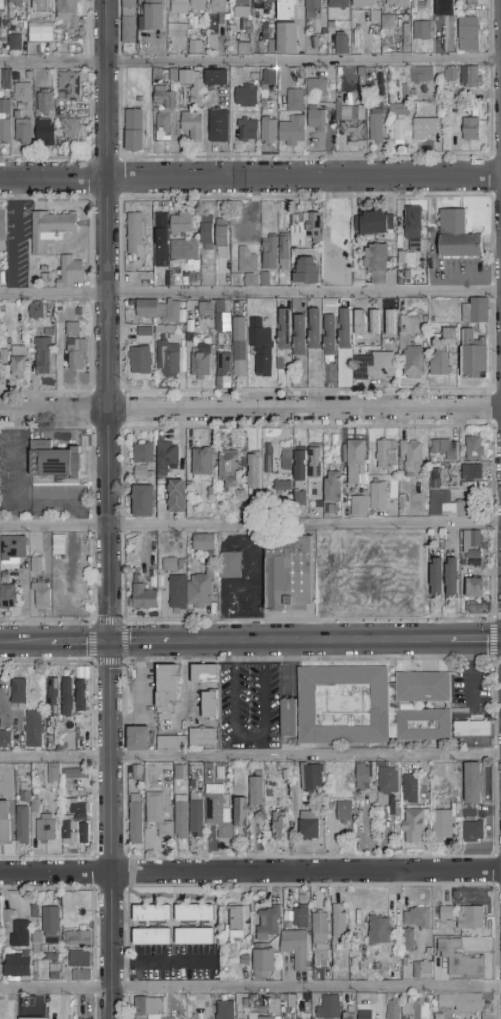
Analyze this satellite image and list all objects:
building: (418, 1)
building: (17, 3)
building: (198, 3)
building: (398, 3)
building: (472, 3)
building: (338, 4)
building: (362, 4)
building: (262, 5)
building: (43, 6)
building: (312, 8)
building: (445, 8)
building: (241, 9)
building: (219, 10)
building: (287, 10)
building: (1, 11)
building: (68, 15)
building: (151, 15)
building: (177, 15)
building: (375, 17)
building: (130, 22)
building: (388, 23)
building: (331, 28)
building: (422, 30)
building: (42, 32)
building: (324, 32)
building: (469, 35)
building: (288, 38)
building: (15, 42)
building: (343, 45)
building: (196, 48)
building: (38, 49)
building: (244, 49)
road: (250, 62)
building: (451, 74)
building: (159, 75)
building: (421, 75)
building: (172, 77)
building: (471, 77)
building: (216, 78)
building: (5, 82)
building: (268, 83)
building: (70, 86)
building: (194, 87)
building: (317, 88)
building: (406, 92)
building: (23, 93)
building: (247, 97)
building: (166, 98)
building: (139, 100)
building: (294, 101)
building: (46, 102)
building: (263, 104)
building: (317, 120)
building: (5, 121)
building: (350, 122)
building: (399, 122)
building: (193, 126)
building: (219, 126)
building: (164, 127)
building: (426, 128)
building: (376, 129)
building: (470, 129)
building: (73, 131)
building: (134, 131)
road: (206, 131)
building: (248, 131)
building: (269, 131)
building: (24, 132)
building: (293, 132)
building: (46, 133)
road: (250, 177)
building: (182, 224)
building: (373, 224)
building: (3, 226)
building: (414, 229)
building: (51, 230)
building: (134, 232)
building: (207, 232)
building: (307, 232)
building: (458, 236)
road: (15, 238)
building: (162, 238)
building: (223, 238)
park: (336, 241)
building: (183, 250)
building: (270, 253)
building: (284, 254)
building: (407, 260)
building: (377, 263)
building: (248, 269)
building: (307, 272)
building: (71, 273)
building: (160, 279)
building: (265, 280)
road: (250, 295)
building: (220, 307)
building: (151, 309)
building: (206, 310)
building: (36, 311)
building: (476, 311)
building: (80, 312)
building: (176, 313)
road: (108, 321)
building: (222, 322)
building: (330, 326)
building: (314, 329)
building: (344, 329)
building: (74, 330)
building: (284, 330)
building: (449, 335)
building: (300, 336)
building: (261, 347)
building: (240, 348)
building: (77, 354)
building: (43, 356)
building: (4, 357)
building: (474, 357)
building: (168, 359)
building: (141, 361)
building: (19, 362)
building: (440, 362)
building: (414, 363)
building: (223, 364)
building: (381, 365)
building: (201, 366)
road: (250, 409)
building: (473, 448)
building: (445, 449)
building: (143, 454)
building: (387, 454)
building: (410, 455)
building: (286, 456)
building: (167, 458)
building: (356, 461)
building: (315, 462)
building: (54, 463)
building: (202, 464)
building: (230, 469)
building: (300, 470)
building: (255, 471)
building: (142, 473)
building: (472, 473)
building: (435, 479)
building: (284, 486)
building: (332, 487)
building: (212, 491)
road: (18, 495)
building: (176, 496)
building: (379, 496)
building: (300, 498)
building: (289, 500)
building: (143, 502)
building: (448, 506)
building: (360, 507)
road: (250, 526)
building: (59, 541)
building: (473, 541)
building: (205, 543)
building: (13, 548)
building: (474, 558)
building: (173, 565)
building: (37, 566)
building: (230, 566)
building: (289, 573)
building: (4, 577)
building: (437, 577)
building: (452, 577)
building: (477, 588)
building: (201, 590)
building: (178, 593)
building: (42, 595)
building: (8, 597)
building: (143, 597)
building: (479, 608)
road: (476, 640)
road: (309, 641)
road: (80, 643)
road: (138, 643)
road: (26, 644)
building: (80, 673)
road: (471, 673)
building: (205, 675)
building: (167, 685)
building: (19, 692)
building: (82, 696)
building: (67, 697)
building: (53, 698)
building: (210, 706)
building: (370, 706)
building: (288, 719)
building: (78, 726)
building: (472, 728)
building: (34, 729)
building: (57, 736)
building: (202, 737)
road: (248, 738)
building: (139, 739)
building: (5, 741)
building: (172, 742)
road: (250, 756)
building: (208, 767)
building: (136, 772)
building: (53, 773)
building: (179, 773)
building: (220, 773)
building: (76, 774)
building: (363, 777)
building: (312, 778)
building: (7, 779)
building: (388, 780)
building: (449, 783)
building: (473, 783)
building: (434, 785)
building: (411, 789)
building: (256, 790)
building: (458, 793)
building: (269, 794)
building: (25, 796)
building: (458, 800)
building: (270, 803)
building: (35, 804)
building: (454, 805)
building: (79, 808)
building: (218, 812)
building: (344, 812)
building: (241, 813)
building: (395, 813)
building: (157, 814)
building: (196, 815)
building: (181, 817)
building: (136, 820)
building: (5, 822)
building: (23, 824)
building: (443, 824)
building: (471, 824)
building: (279, 825)
building: (310, 825)
building: (414, 826)
building: (46, 829)
building: (70, 830)
road: (110, 830)
building: (85, 834)
road: (250, 872)
building: (35, 912)
building: (194, 913)
building: (446, 913)
building: (152, 914)
building: (0, 916)
building: (8, 917)
building: (301, 917)
building: (418, 918)
building: (471, 918)
building: (237, 923)
building: (269, 923)
building: (339, 923)
building: (51, 925)
building: (288, 926)
building: (320, 928)
building: (379, 931)
building: (21, 935)
building: (152, 937)
building: (194, 937)
building: (37, 938)
building: (78, 939)
building: (409, 940)
building: (295, 948)
building: (338, 948)
building: (48, 953)
building: (429, 953)
building: (80, 960)
building: (245, 960)
building: (461, 960)
building: (264, 961)
building: (405, 962)
building: (0, 963)
road: (162, 963)
building: (354, 963)
building: (17, 967)
building: (376, 967)
building: (37, 970)
building: (423, 971)
building: (77, 975)
building: (55, 976)
road: (250, 988)
building: (347, 998)
building: (241, 1001)
building: (463, 1003)
building: (148, 1007)
building: (226, 1007)
building: (419, 1007)
building: (329, 1008)
building: (307, 1009)
building: (394, 1009)
building: (363, 1014)
building: (349, 1016)
building: (253, 1017)
building: (277, 1017)
building: (440, 1017)
building: (28, 1018)
building: (266, 1018)

